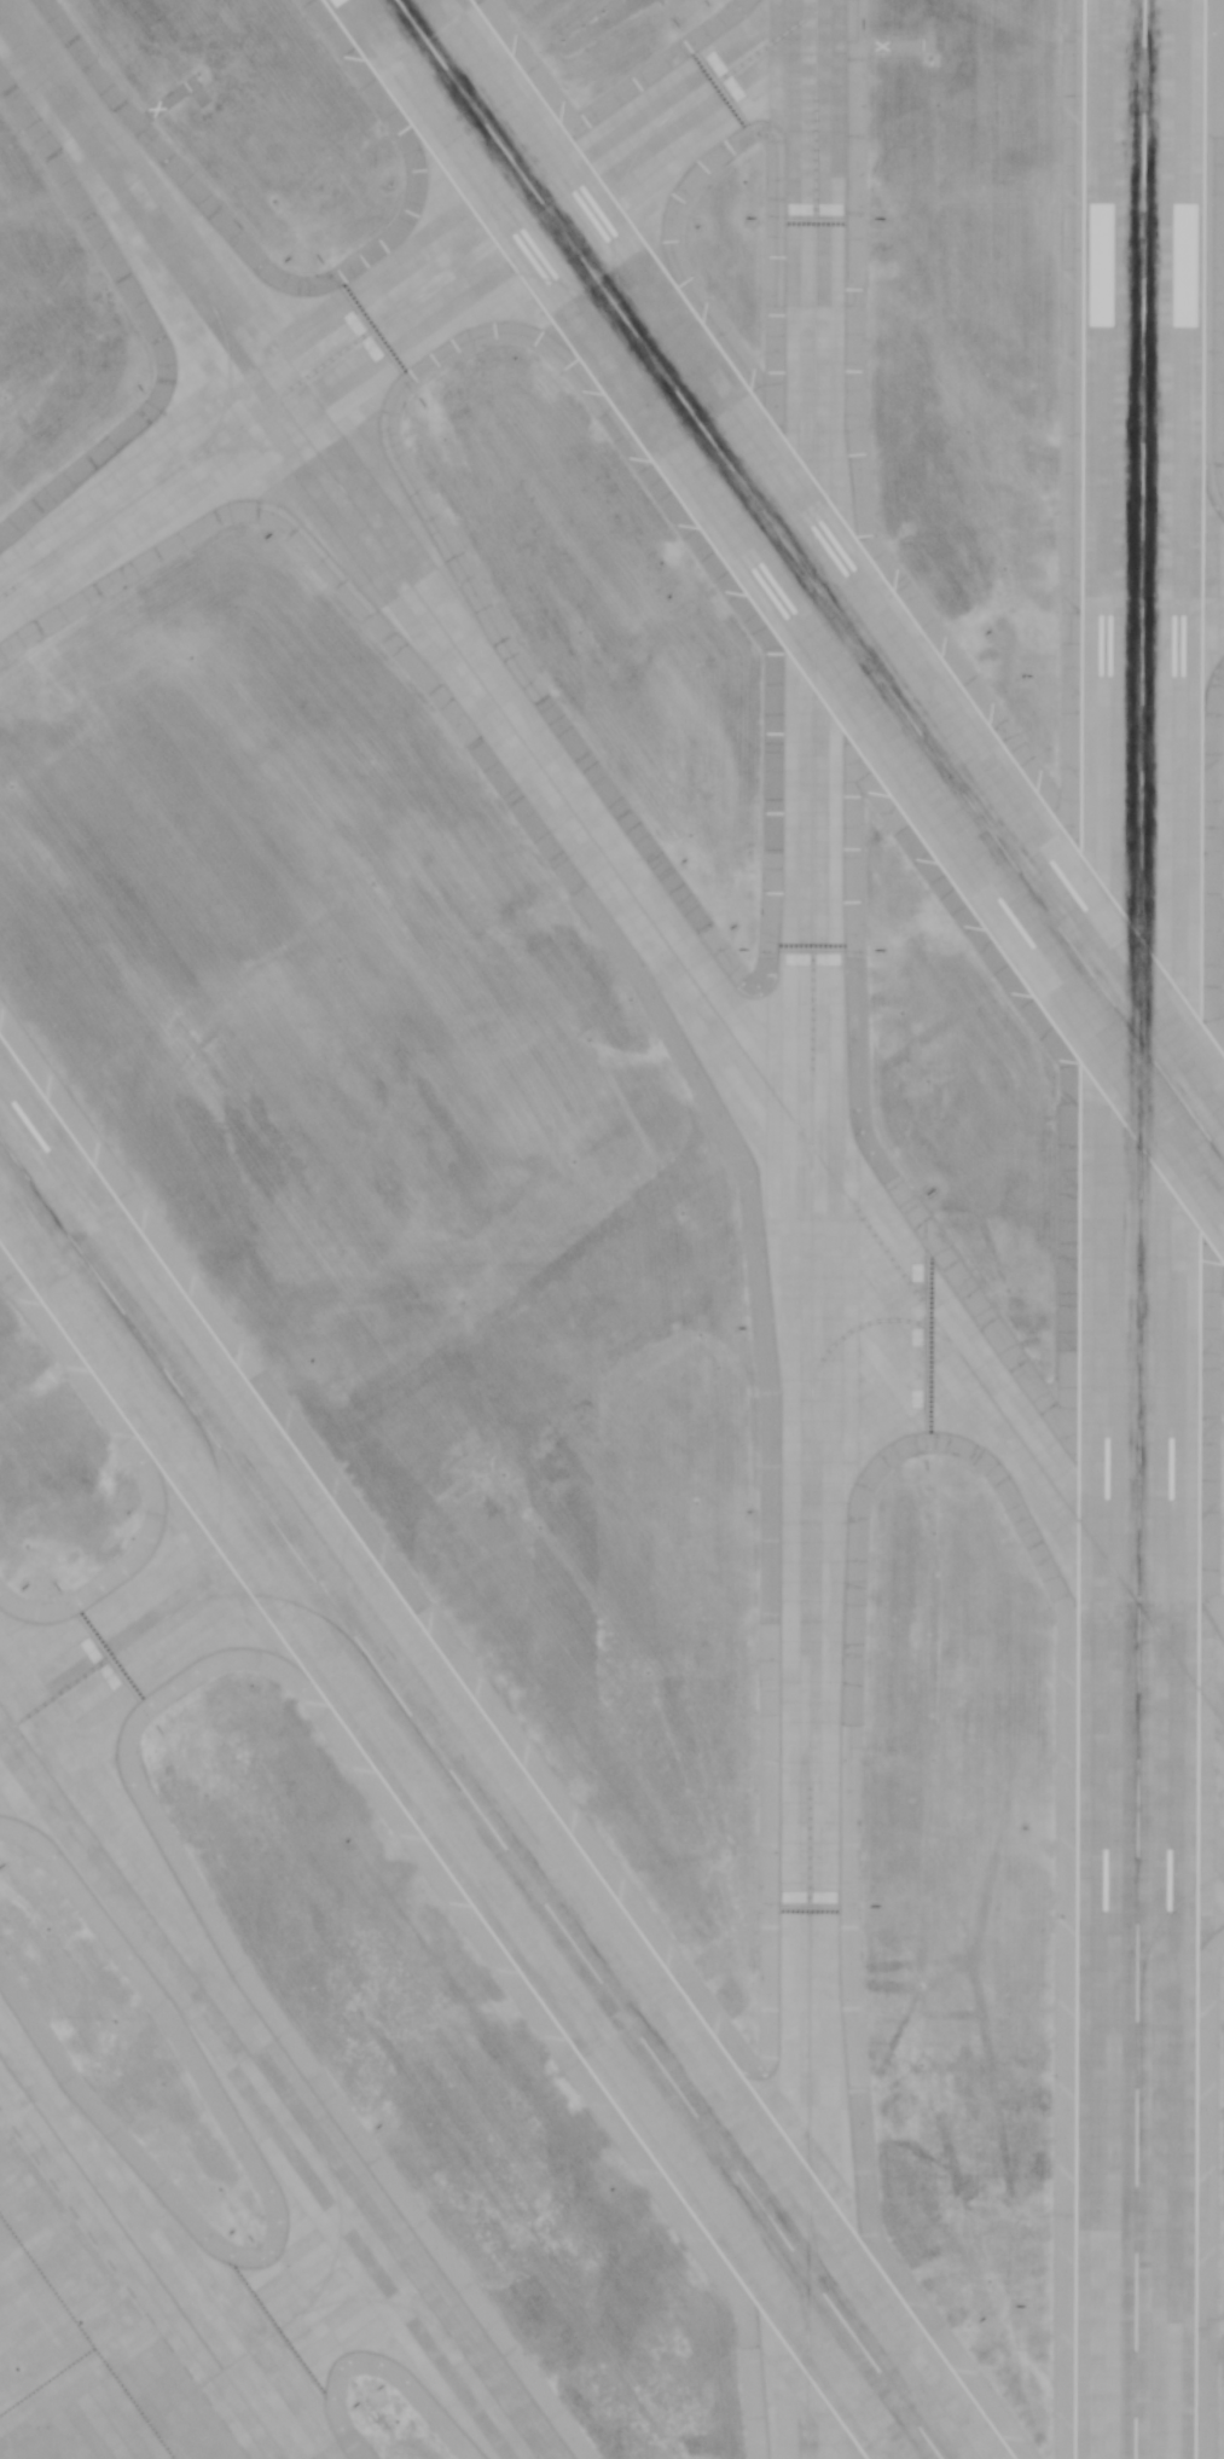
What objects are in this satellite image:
road: (605, 23)
airport taxiway: (489, 185)
airport taxiway: (614, 213)
airport taxiway: (528, 276)
airport taxiway: (410, 302)
airport taxiway: (226, 392)
airport taxiway: (1172, 541)
airport runway: (810, 579)
airport taxiway: (1172, 634)
airport taxiway: (613, 868)
airport taxiway: (805, 1149)
airport: (611, 1229)
airport taxiway: (812, 1229)
airport runway: (1143, 1229)
airport taxiway: (868, 1323)
airport taxiway: (275, 1596)
airport taxiway: (175, 1607)
airport taxiway: (1150, 1617)
airport taxiway: (1131, 1625)
airport runway: (470, 1799)
airport taxiway: (1168, 1914)
airport taxiway: (271, 2082)
airport taxiway: (144, 2257)
airport taxiway: (789, 2270)
airport taxiway: (372, 2299)
airport apron: (110, 2303)
airport taxiway: (273, 2332)

